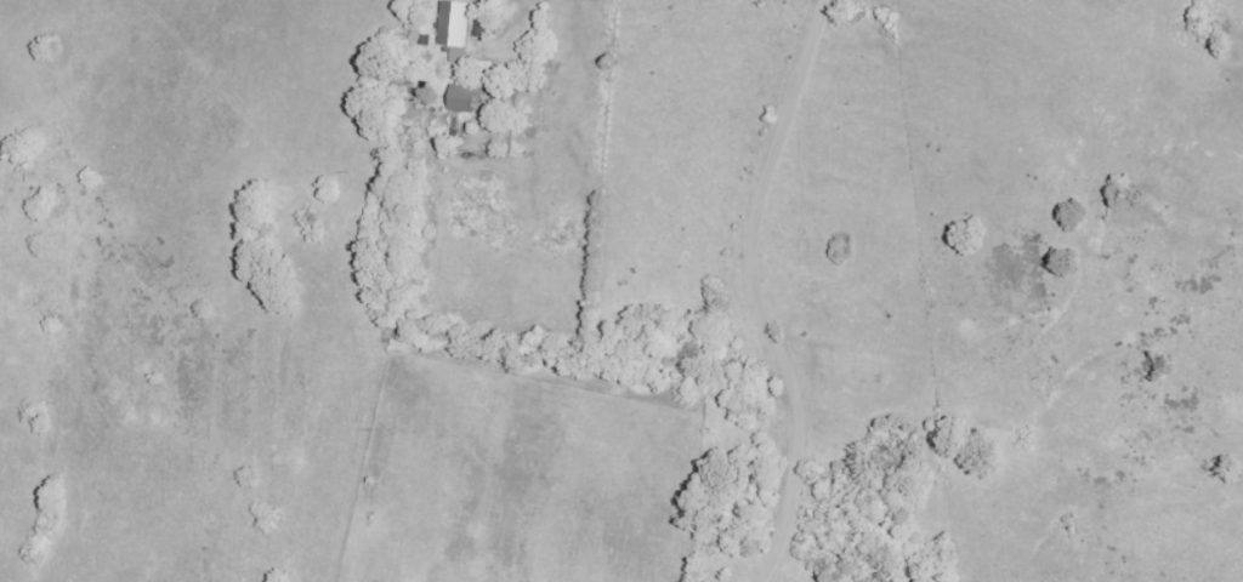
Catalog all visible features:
building: (458, 25)
building: (461, 99)
road: (755, 292)

